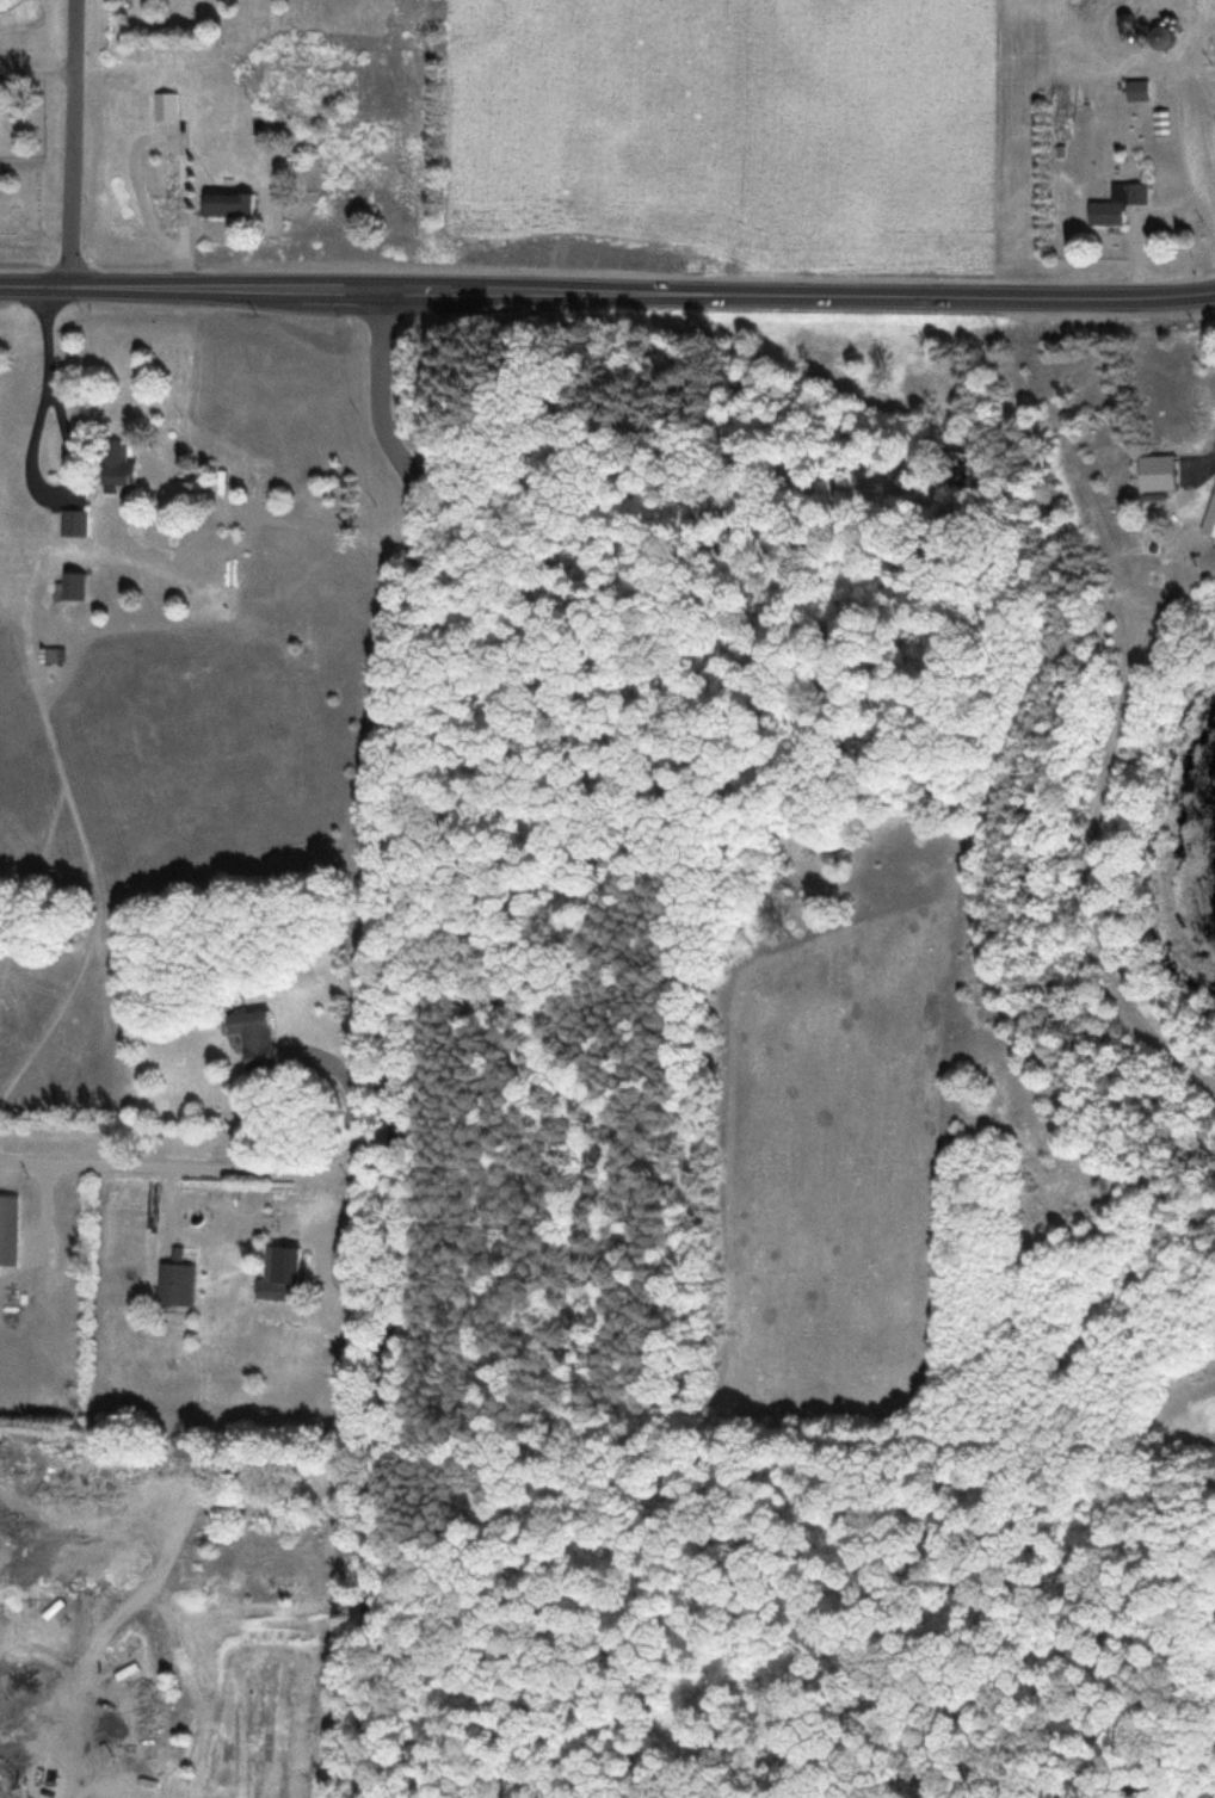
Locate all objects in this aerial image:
building: (1162, 36)
road: (1201, 86)
building: (1136, 89)
building: (164, 104)
road: (68, 142)
building: (226, 202)
building: (1118, 202)
road: (607, 290)
building: (116, 463)
building: (1158, 471)
building: (1210, 515)
building: (73, 521)
building: (69, 583)
building: (253, 1037)
road: (406, 1037)
road: (204, 1168)
building: (7, 1228)
building: (285, 1272)
building: (173, 1280)
road: (578, 1456)
quarry: (105, 1619)
road: (855, 1674)

